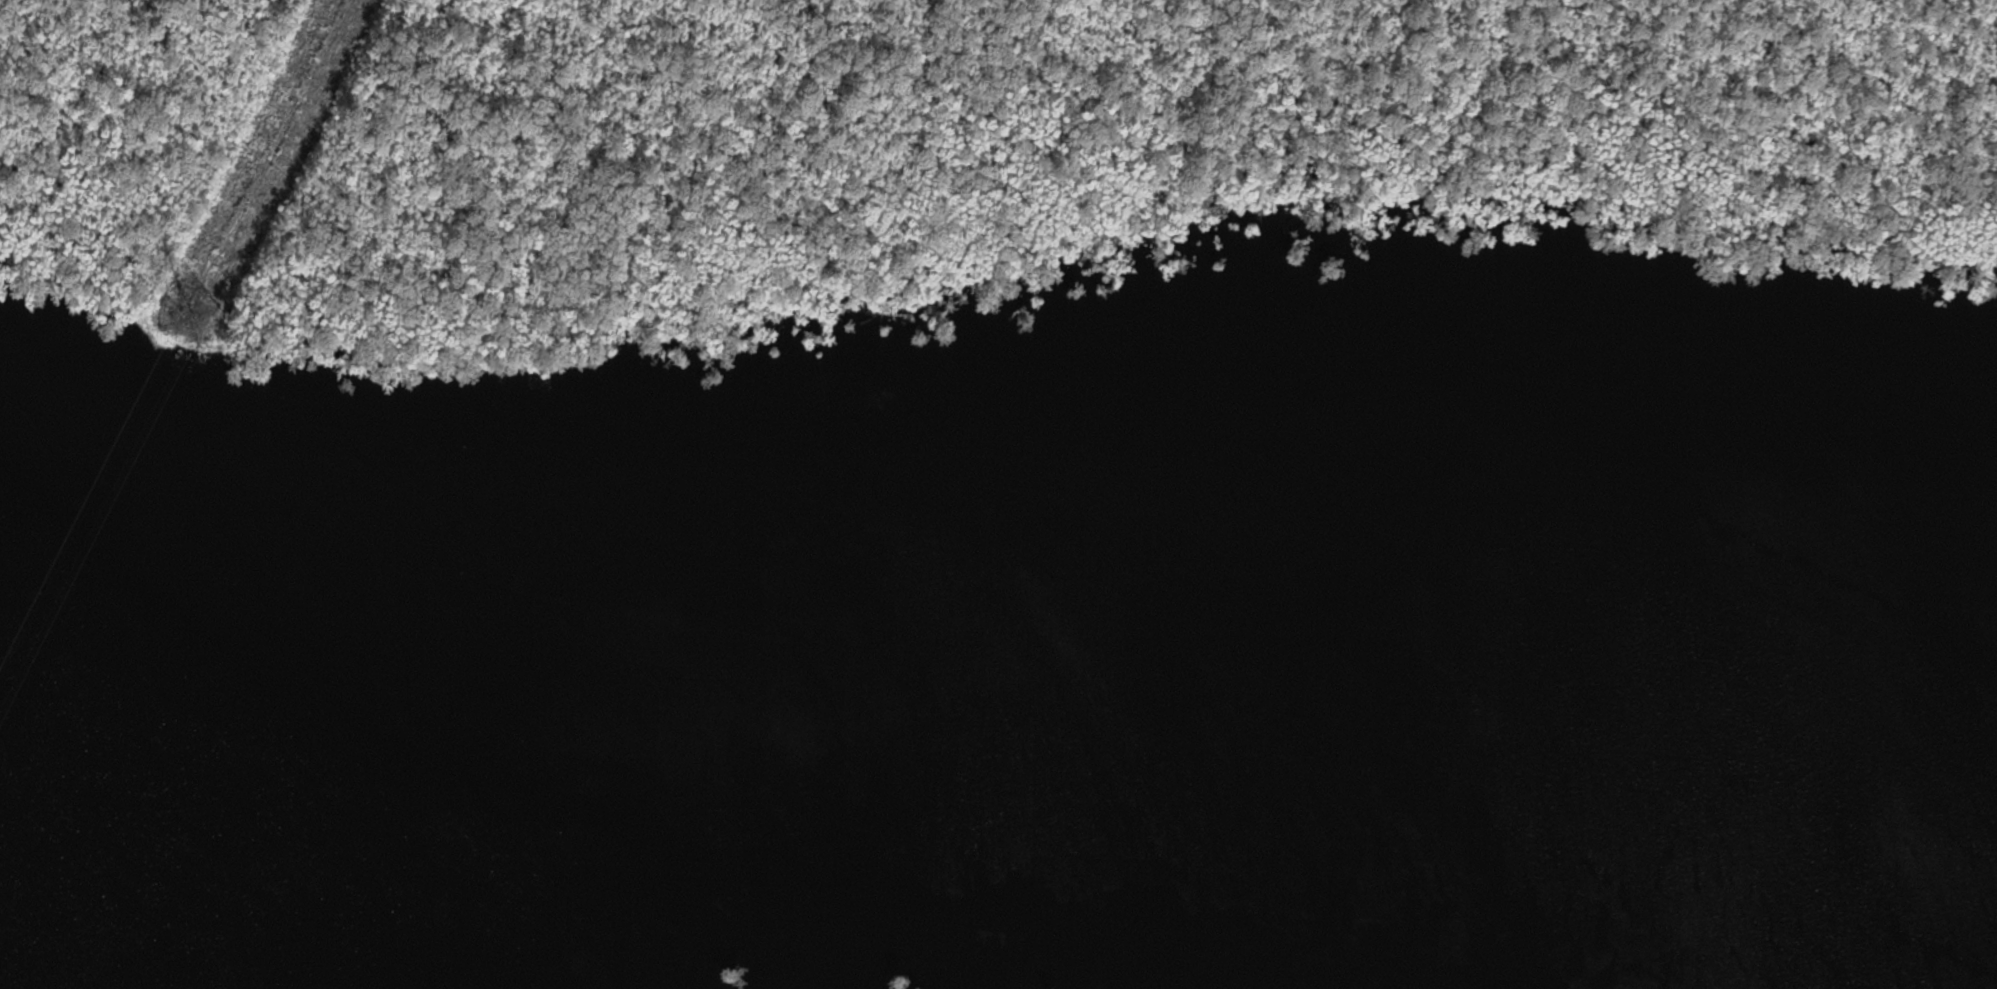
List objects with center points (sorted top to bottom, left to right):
road: (272, 121)
park: (924, 152)
power tower: (201, 309)
river: (998, 657)

